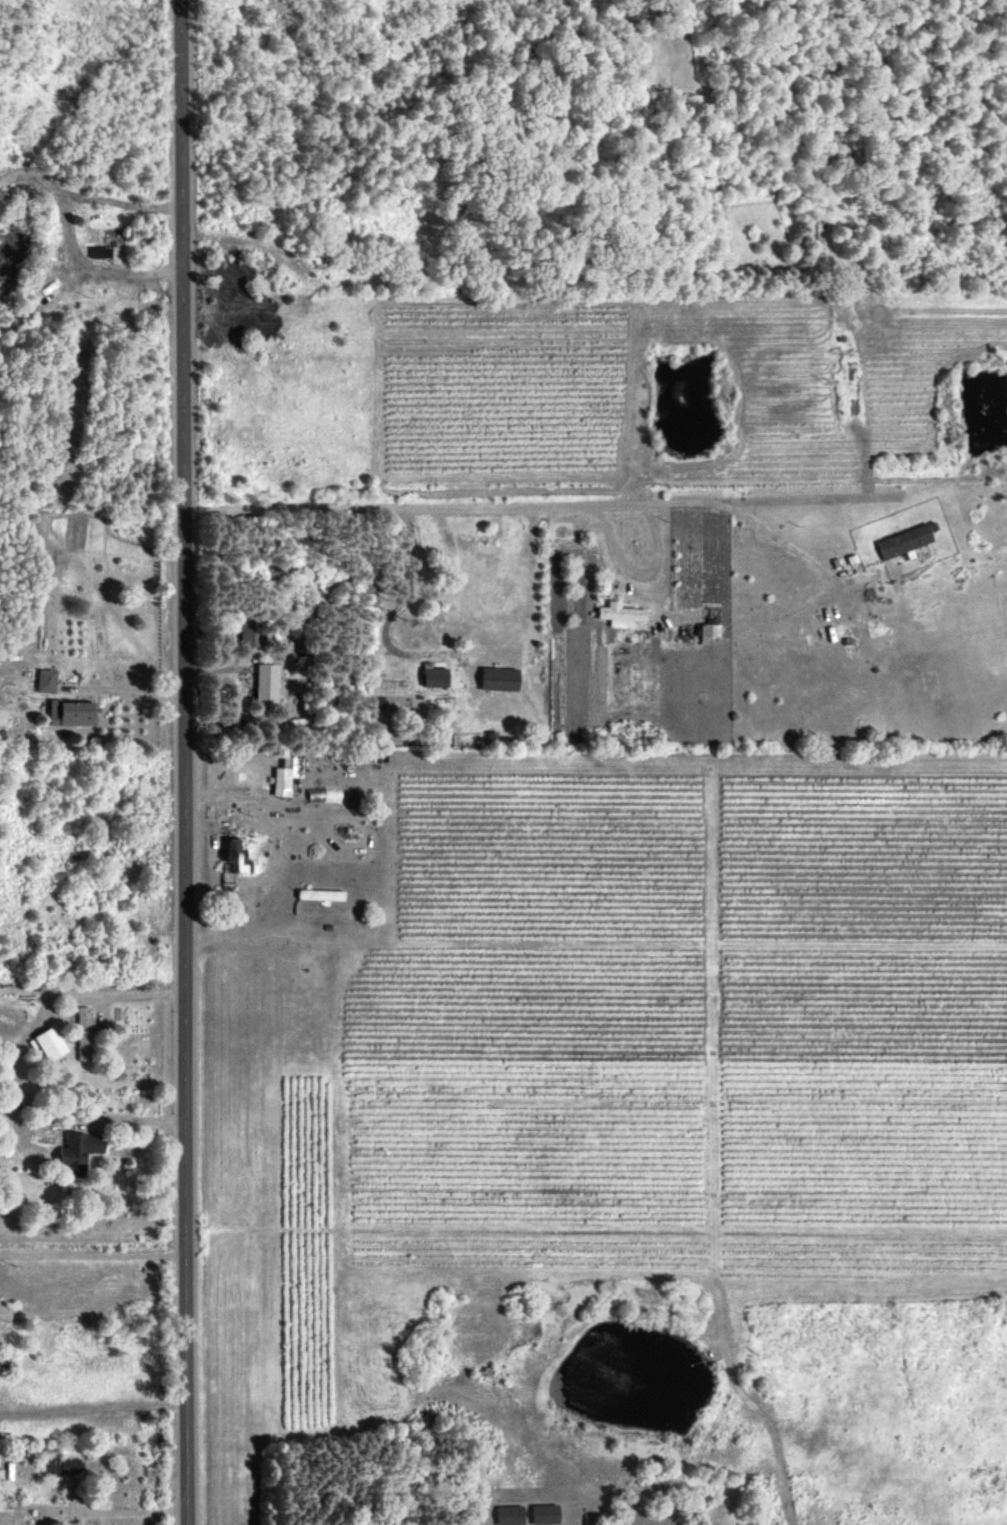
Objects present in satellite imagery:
building: (99, 250)
road: (529, 505)
building: (903, 540)
road: (638, 567)
building: (619, 613)
building: (247, 629)
building: (707, 629)
road: (417, 653)
building: (433, 675)
building: (498, 678)
building: (44, 679)
building: (264, 681)
road: (125, 690)
building: (71, 712)
road: (183, 762)
building: (284, 775)
building: (234, 855)
road: (132, 995)
building: (83, 1033)
building: (49, 1043)
road: (132, 1119)
building: (78, 1149)
road: (93, 1223)
road: (93, 1409)
building: (65, 1467)
road: (135, 1506)
building: (544, 1513)
building: (509, 1514)

